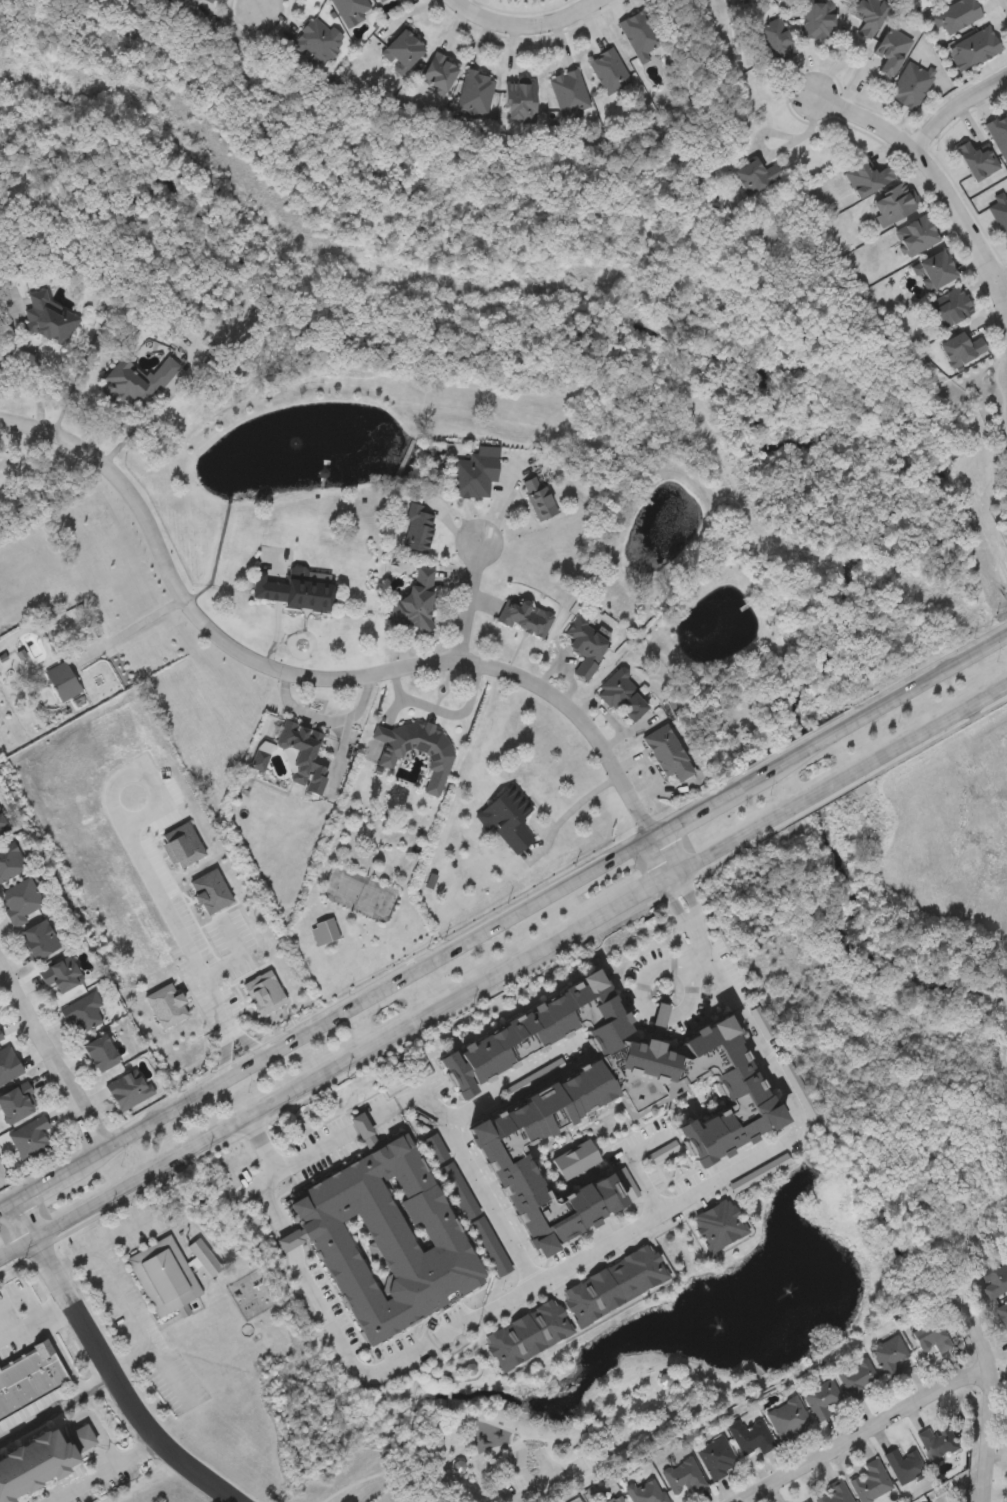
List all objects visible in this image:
building: (208, 0)
building: (379, 0)
building: (739, 0)
building: (383, 1)
road: (1005, 3)
road: (261, 6)
building: (351, 10)
building: (956, 13)
building: (868, 15)
building: (817, 19)
road: (527, 27)
building: (639, 34)
building: (773, 34)
building: (316, 41)
building: (972, 47)
building: (405, 48)
building: (890, 50)
building: (609, 70)
building: (440, 71)
building: (909, 84)
building: (476, 91)
building: (569, 92)
building: (521, 101)
road: (951, 105)
building: (998, 134)
building: (976, 159)
building: (755, 175)
building: (866, 178)
road: (932, 178)
building: (892, 205)
building: (999, 214)
building: (915, 235)
building: (935, 270)
road: (1002, 282)
building: (951, 306)
building: (46, 319)
building: (962, 348)
building: (136, 381)
road: (144, 419)
park: (978, 447)
building: (475, 472)
building: (538, 497)
building: (418, 529)
building: (293, 590)
building: (415, 602)
road: (474, 602)
building: (524, 616)
road: (130, 630)
building: (587, 646)
road: (934, 678)
building: (62, 680)
road: (332, 681)
building: (624, 695)
road: (446, 713)
road: (938, 726)
building: (416, 751)
road: (804, 752)
building: (669, 753)
building: (260, 755)
building: (304, 755)
road: (820, 794)
road: (579, 814)
building: (507, 817)
building: (1, 824)
building: (1, 833)
road: (140, 858)
building: (9, 861)
building: (19, 900)
building: (39, 938)
road: (700, 962)
building: (60, 973)
road: (642, 977)
road: (372, 996)
road: (737, 999)
building: (166, 1006)
building: (83, 1013)
building: (1, 1035)
road: (384, 1038)
road: (250, 1044)
building: (102, 1052)
road: (227, 1057)
road: (53, 1060)
building: (8, 1063)
road: (506, 1074)
building: (128, 1088)
building: (600, 1099)
building: (17, 1102)
road: (440, 1111)
building: (30, 1136)
building: (434, 1148)
building: (576, 1160)
building: (458, 1190)
building: (718, 1225)
building: (385, 1236)
road: (99, 1245)
building: (490, 1246)
building: (204, 1257)
building: (164, 1275)
building: (994, 1278)
building: (613, 1285)
road: (26, 1297)
building: (1003, 1312)
road: (35, 1323)
road: (132, 1326)
road: (455, 1328)
building: (527, 1334)
building: (933, 1337)
road: (125, 1355)
building: (889, 1356)
road: (107, 1365)
building: (29, 1377)
building: (857, 1378)
building: (821, 1397)
road: (991, 1399)
road: (57, 1410)
building: (789, 1418)
park: (532, 1427)
road: (864, 1432)
building: (752, 1437)
building: (940, 1443)
building: (718, 1457)
building: (41, 1461)
building: (905, 1466)
road: (106, 1472)
building: (683, 1477)
building: (871, 1482)
building: (647, 1491)
building: (834, 1494)
building: (616, 1499)
building: (805, 1500)

